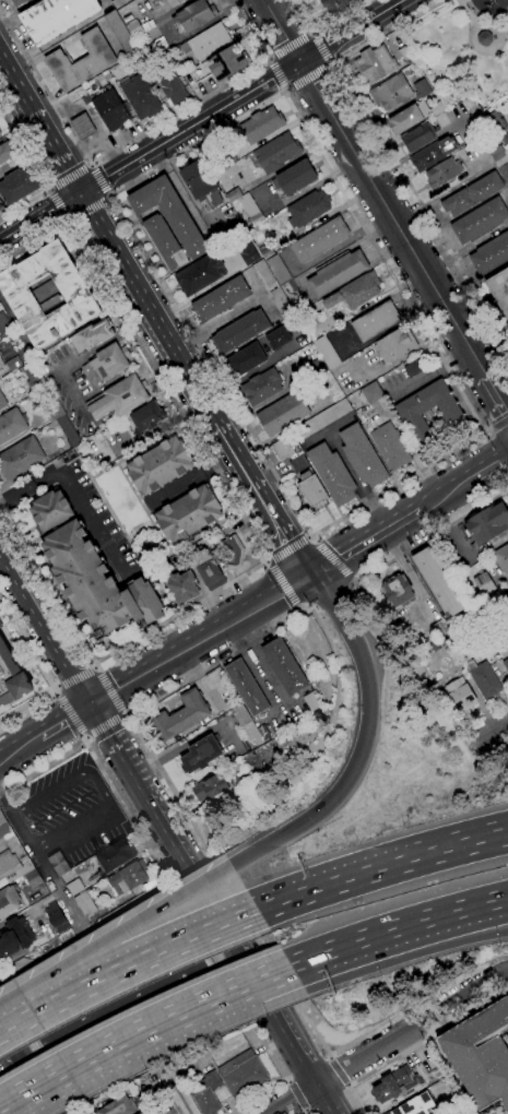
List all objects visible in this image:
building: (17, 2)
building: (174, 2)
building: (335, 5)
building: (194, 15)
building: (56, 17)
road: (477, 23)
road: (326, 24)
building: (147, 26)
building: (134, 29)
road: (316, 32)
building: (120, 33)
building: (201, 43)
building: (161, 44)
park: (460, 44)
road: (292, 46)
road: (324, 47)
road: (479, 49)
building: (149, 51)
building: (403, 55)
road: (268, 59)
building: (81, 61)
building: (135, 61)
road: (335, 61)
building: (226, 62)
building: (375, 64)
road: (274, 73)
road: (307, 73)
building: (172, 86)
building: (421, 90)
road: (282, 91)
building: (75, 93)
building: (391, 93)
building: (140, 96)
building: (446, 100)
building: (110, 108)
building: (429, 109)
building: (405, 119)
road: (202, 121)
building: (496, 123)
building: (261, 125)
building: (82, 126)
gas station: (82, 126)
building: (0, 134)
building: (418, 137)
building: (0, 138)
road: (132, 141)
building: (5, 152)
building: (276, 153)
building: (432, 154)
road: (390, 155)
building: (498, 156)
road: (90, 165)
building: (504, 171)
road: (38, 174)
building: (442, 174)
road: (70, 178)
building: (294, 178)
road: (99, 180)
building: (200, 183)
building: (17, 186)
road: (49, 190)
road: (444, 192)
traffic signals: (82, 193)
building: (472, 194)
building: (234, 195)
road: (507, 195)
road: (108, 197)
road: (58, 204)
building: (1, 205)
road: (87, 206)
building: (308, 208)
road: (386, 209)
building: (250, 211)
building: (169, 214)
road: (67, 222)
road: (68, 222)
building: (480, 222)
building: (319, 240)
road: (33, 242)
building: (165, 244)
road: (465, 249)
road: (116, 250)
building: (247, 252)
building: (267, 253)
building: (491, 254)
building: (277, 270)
building: (336, 273)
building: (200, 274)
building: (277, 289)
building: (499, 291)
building: (355, 293)
building: (48, 295)
building: (293, 296)
building: (221, 299)
road: (139, 318)
building: (376, 322)
building: (4, 327)
building: (239, 332)
building: (92, 336)
building: (277, 339)
building: (395, 345)
building: (327, 352)
building: (245, 360)
building: (13, 364)
building: (106, 364)
building: (415, 367)
building: (33, 378)
building: (262, 387)
road: (167, 392)
building: (371, 393)
building: (118, 400)
building: (2, 402)
building: (54, 411)
building: (283, 414)
building: (147, 417)
building: (453, 418)
building: (321, 420)
road: (499, 423)
building: (11, 425)
road: (488, 429)
road: (484, 430)
building: (68, 431)
building: (390, 447)
building: (281, 449)
building: (362, 457)
building: (20, 458)
building: (298, 464)
building: (160, 465)
road: (489, 465)
building: (332, 474)
road: (354, 481)
road: (72, 488)
building: (311, 490)
road: (444, 493)
road: (270, 509)
building: (50, 510)
building: (188, 514)
building: (487, 524)
road: (430, 534)
road: (308, 536)
building: (216, 537)
road: (312, 538)
road: (363, 541)
road: (286, 548)
building: (232, 553)
road: (333, 559)
building: (501, 559)
road: (263, 561)
building: (206, 569)
traffic signals: (310, 573)
road: (410, 577)
road: (353, 580)
building: (438, 582)
building: (96, 583)
road: (281, 583)
building: (484, 584)
building: (182, 588)
building: (507, 588)
building: (398, 591)
road: (296, 608)
road: (35, 620)
building: (1, 626)
building: (439, 628)
road: (198, 638)
building: (442, 641)
building: (435, 647)
road: (98, 662)
road: (256, 664)
road: (94, 665)
building: (505, 665)
road: (97, 666)
building: (284, 666)
road: (44, 669)
road: (81, 673)
road: (196, 676)
building: (12, 678)
building: (483, 679)
road: (63, 683)
road: (57, 687)
building: (246, 688)
road: (56, 689)
road: (110, 690)
building: (460, 696)
road: (369, 699)
building: (312, 701)
traffic signals: (87, 703)
road: (494, 708)
road: (71, 713)
road: (126, 714)
building: (240, 714)
building: (180, 716)
road: (61, 719)
building: (275, 724)
road: (104, 725)
building: (255, 733)
road: (487, 733)
road: (84, 739)
road: (19, 746)
building: (201, 754)
building: (241, 779)
building: (209, 787)
parking lot: (67, 809)
traffic signals: (308, 820)
road: (198, 839)
road: (269, 843)
road: (460, 848)
building: (11, 855)
road: (37, 856)
building: (114, 856)
building: (59, 864)
building: (128, 877)
building: (33, 879)
road: (334, 885)
building: (74, 887)
road: (175, 896)
road: (202, 896)
building: (8, 901)
building: (84, 902)
road: (470, 910)
building: (56, 919)
road: (470, 926)
road: (122, 929)
building: (14, 937)
road: (361, 943)
road: (127, 970)
road: (285, 971)
road: (138, 1035)
road: (386, 1039)
road: (36, 1051)
building: (480, 1054)
road: (330, 1058)
road: (338, 1071)
road: (371, 1072)
building: (243, 1075)
road: (22, 1077)
road: (287, 1083)
road: (346, 1086)
building: (395, 1086)
building: (205, 1093)
building: (221, 1094)
road: (296, 1095)
road: (9, 1099)
road: (178, 1100)
building: (117, 1106)
building: (416, 1106)
road: (304, 1111)
building: (141, 1113)
road: (305, 1113)

